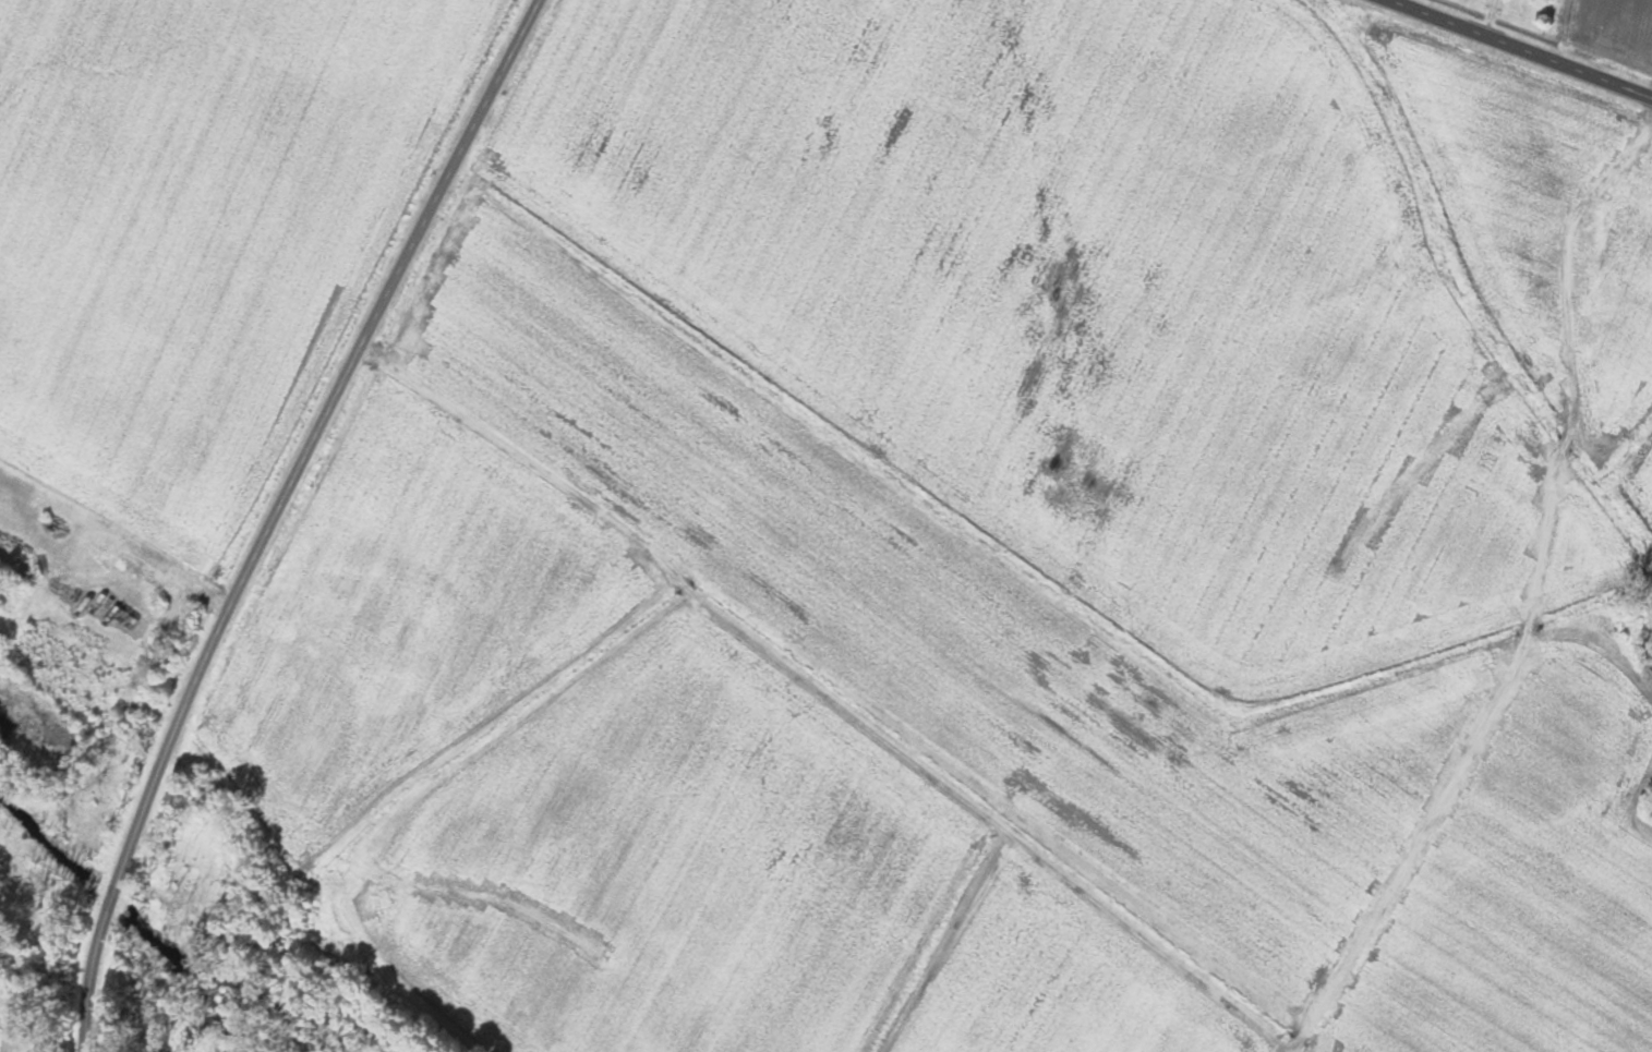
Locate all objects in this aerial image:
road: (1514, 51)
road: (278, 515)

